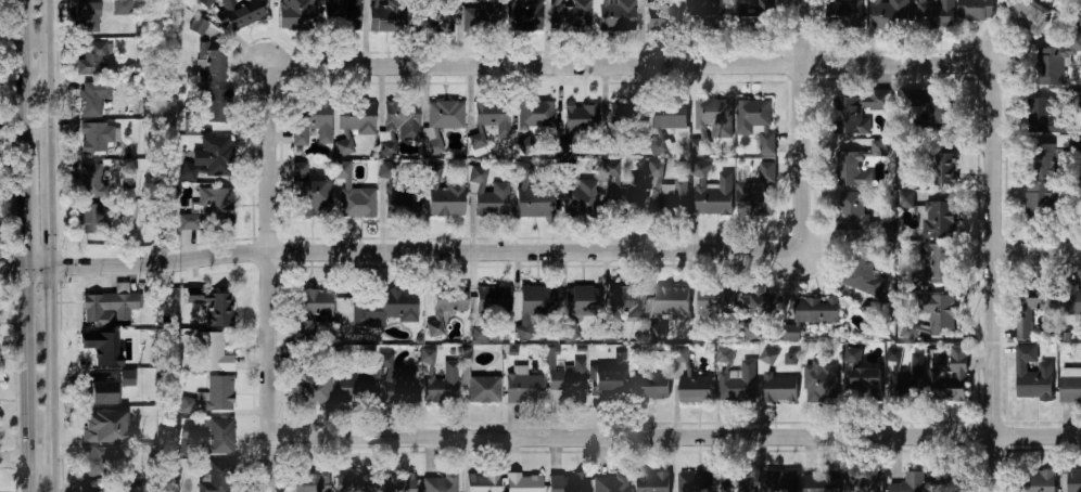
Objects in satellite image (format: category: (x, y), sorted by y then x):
building: (206, 2)
building: (123, 7)
building: (975, 9)
building: (705, 13)
building: (843, 13)
building: (1030, 13)
building: (295, 14)
building: (522, 14)
building: (615, 14)
building: (890, 14)
building: (934, 14)
building: (244, 15)
building: (340, 15)
building: (481, 15)
building: (571, 15)
building: (758, 15)
building: (442, 16)
building: (86, 17)
building: (386, 17)
building: (662, 17)
building: (201, 26)
building: (1074, 42)
building: (92, 61)
building: (209, 64)
road: (628, 66)
building: (1047, 66)
road: (23, 75)
building: (91, 100)
building: (217, 107)
building: (932, 111)
building: (856, 112)
building: (535, 114)
building: (625, 115)
building: (669, 115)
building: (492, 116)
building: (1044, 117)
building: (403, 118)
building: (581, 118)
building: (442, 120)
building: (755, 121)
building: (353, 124)
building: (711, 124)
building: (310, 125)
road: (803, 125)
building: (93, 134)
building: (479, 142)
building: (525, 145)
building: (564, 148)
building: (1050, 156)
building: (207, 158)
building: (857, 165)
building: (942, 167)
building: (389, 169)
building: (90, 180)
building: (712, 192)
building: (307, 193)
building: (485, 194)
building: (577, 194)
building: (665, 194)
building: (351, 195)
building: (444, 196)
building: (628, 196)
building: (755, 197)
building: (1041, 198)
building: (527, 200)
building: (904, 200)
building: (402, 203)
building: (208, 210)
building: (852, 211)
building: (91, 219)
building: (938, 220)
building: (882, 230)
road: (25, 245)
traffic signals: (25, 245)
road: (47, 245)
road: (1037, 249)
road: (478, 253)
building: (934, 263)
road: (107, 266)
road: (0, 267)
traffic signals: (7, 267)
road: (33, 267)
traffic signals: (68, 267)
building: (863, 268)
road: (270, 277)
road: (992, 279)
traffic signals: (48, 286)
building: (1071, 299)
building: (582, 300)
building: (715, 300)
building: (625, 301)
building: (449, 302)
building: (671, 302)
building: (534, 305)
building: (759, 305)
building: (491, 306)
building: (1031, 307)
building: (214, 308)
building: (386, 308)
building: (109, 309)
building: (309, 310)
building: (815, 312)
building: (933, 315)
building: (751, 332)
building: (480, 334)
building: (93, 347)
building: (211, 353)
building: (466, 354)
building: (682, 354)
building: (894, 354)
building: (724, 357)
building: (428, 358)
building: (1031, 374)
building: (956, 375)
building: (127, 377)
building: (861, 378)
building: (567, 379)
building: (748, 381)
building: (777, 383)
building: (821, 383)
building: (608, 384)
building: (442, 385)
building: (906, 385)
building: (400, 386)
building: (522, 387)
building: (651, 387)
building: (1069, 387)
building: (310, 388)
building: (354, 388)
building: (92, 389)
building: (482, 389)
building: (695, 389)
building: (217, 393)
building: (98, 427)
building: (189, 431)
road: (676, 436)
building: (220, 437)
road: (26, 457)
road: (2, 458)
building: (94, 462)
building: (216, 478)
building: (780, 481)
building: (862, 481)
building: (1034, 481)
building: (311, 482)
building: (354, 482)
building: (440, 482)
building: (483, 482)
building: (523, 482)
building: (650, 482)
building: (694, 482)
building: (818, 482)
building: (946, 482)
building: (1073, 482)
building: (398, 483)
building: (565, 483)
building: (609, 483)
building: (736, 483)
building: (907, 483)
building: (91, 487)

